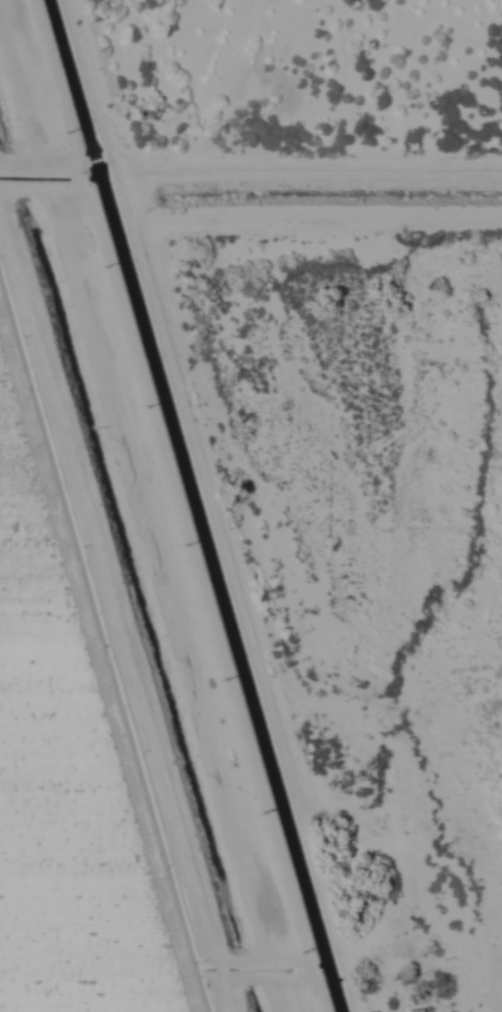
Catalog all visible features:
building: (417, 1010)

